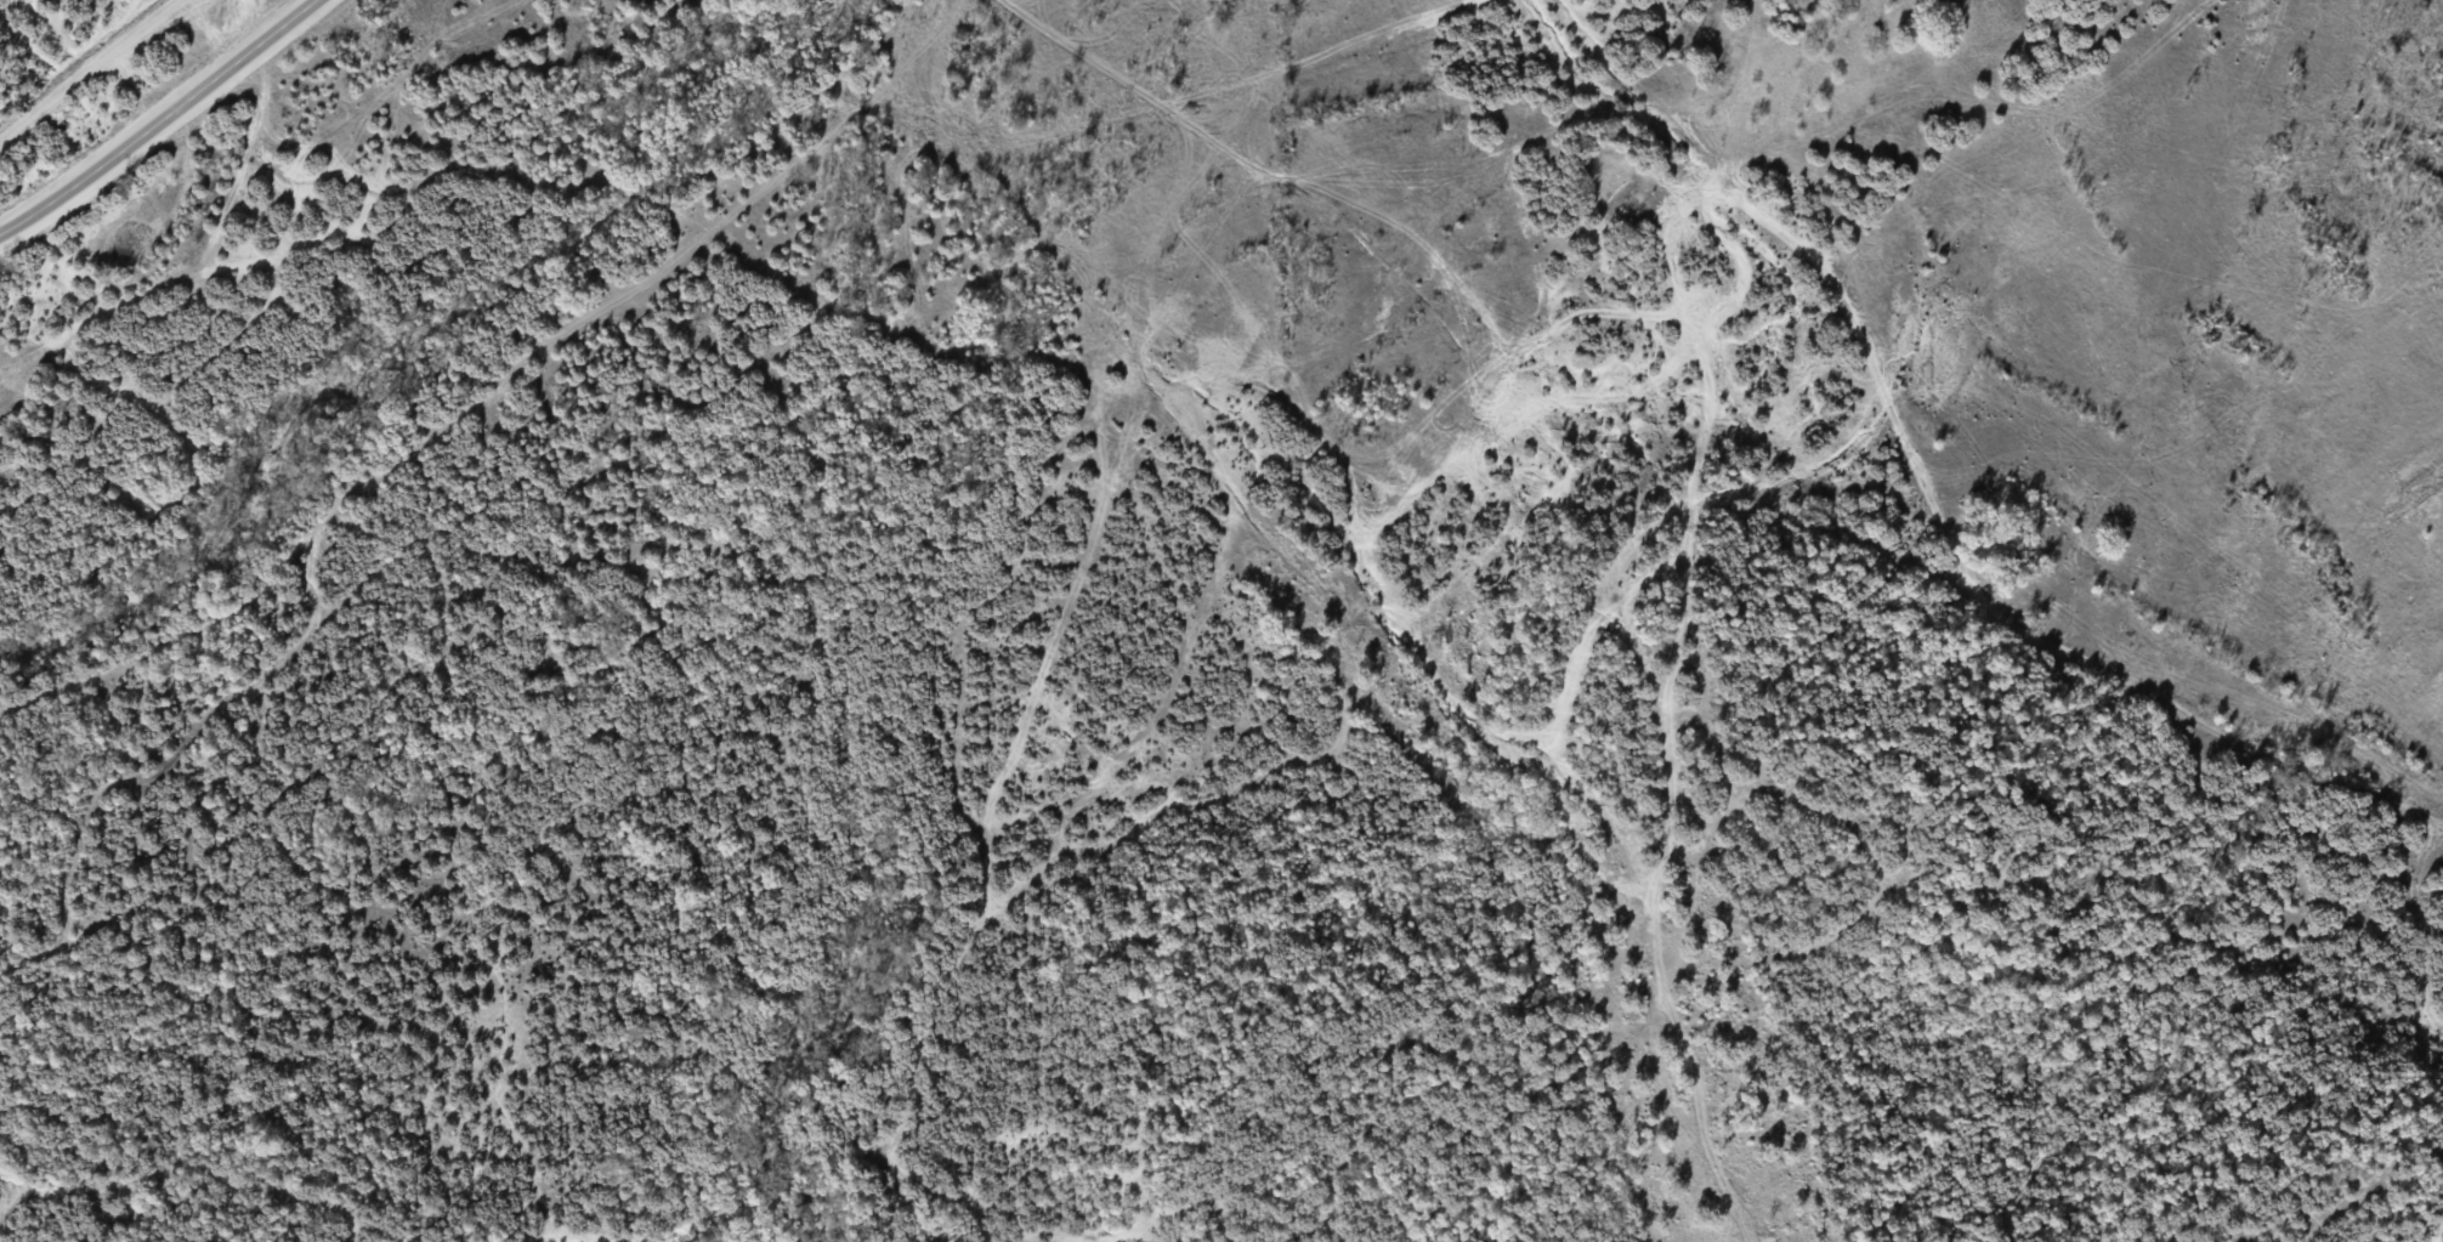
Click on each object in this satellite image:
road: (255, 22)
road: (289, 22)
road: (90, 72)
road: (131, 142)

